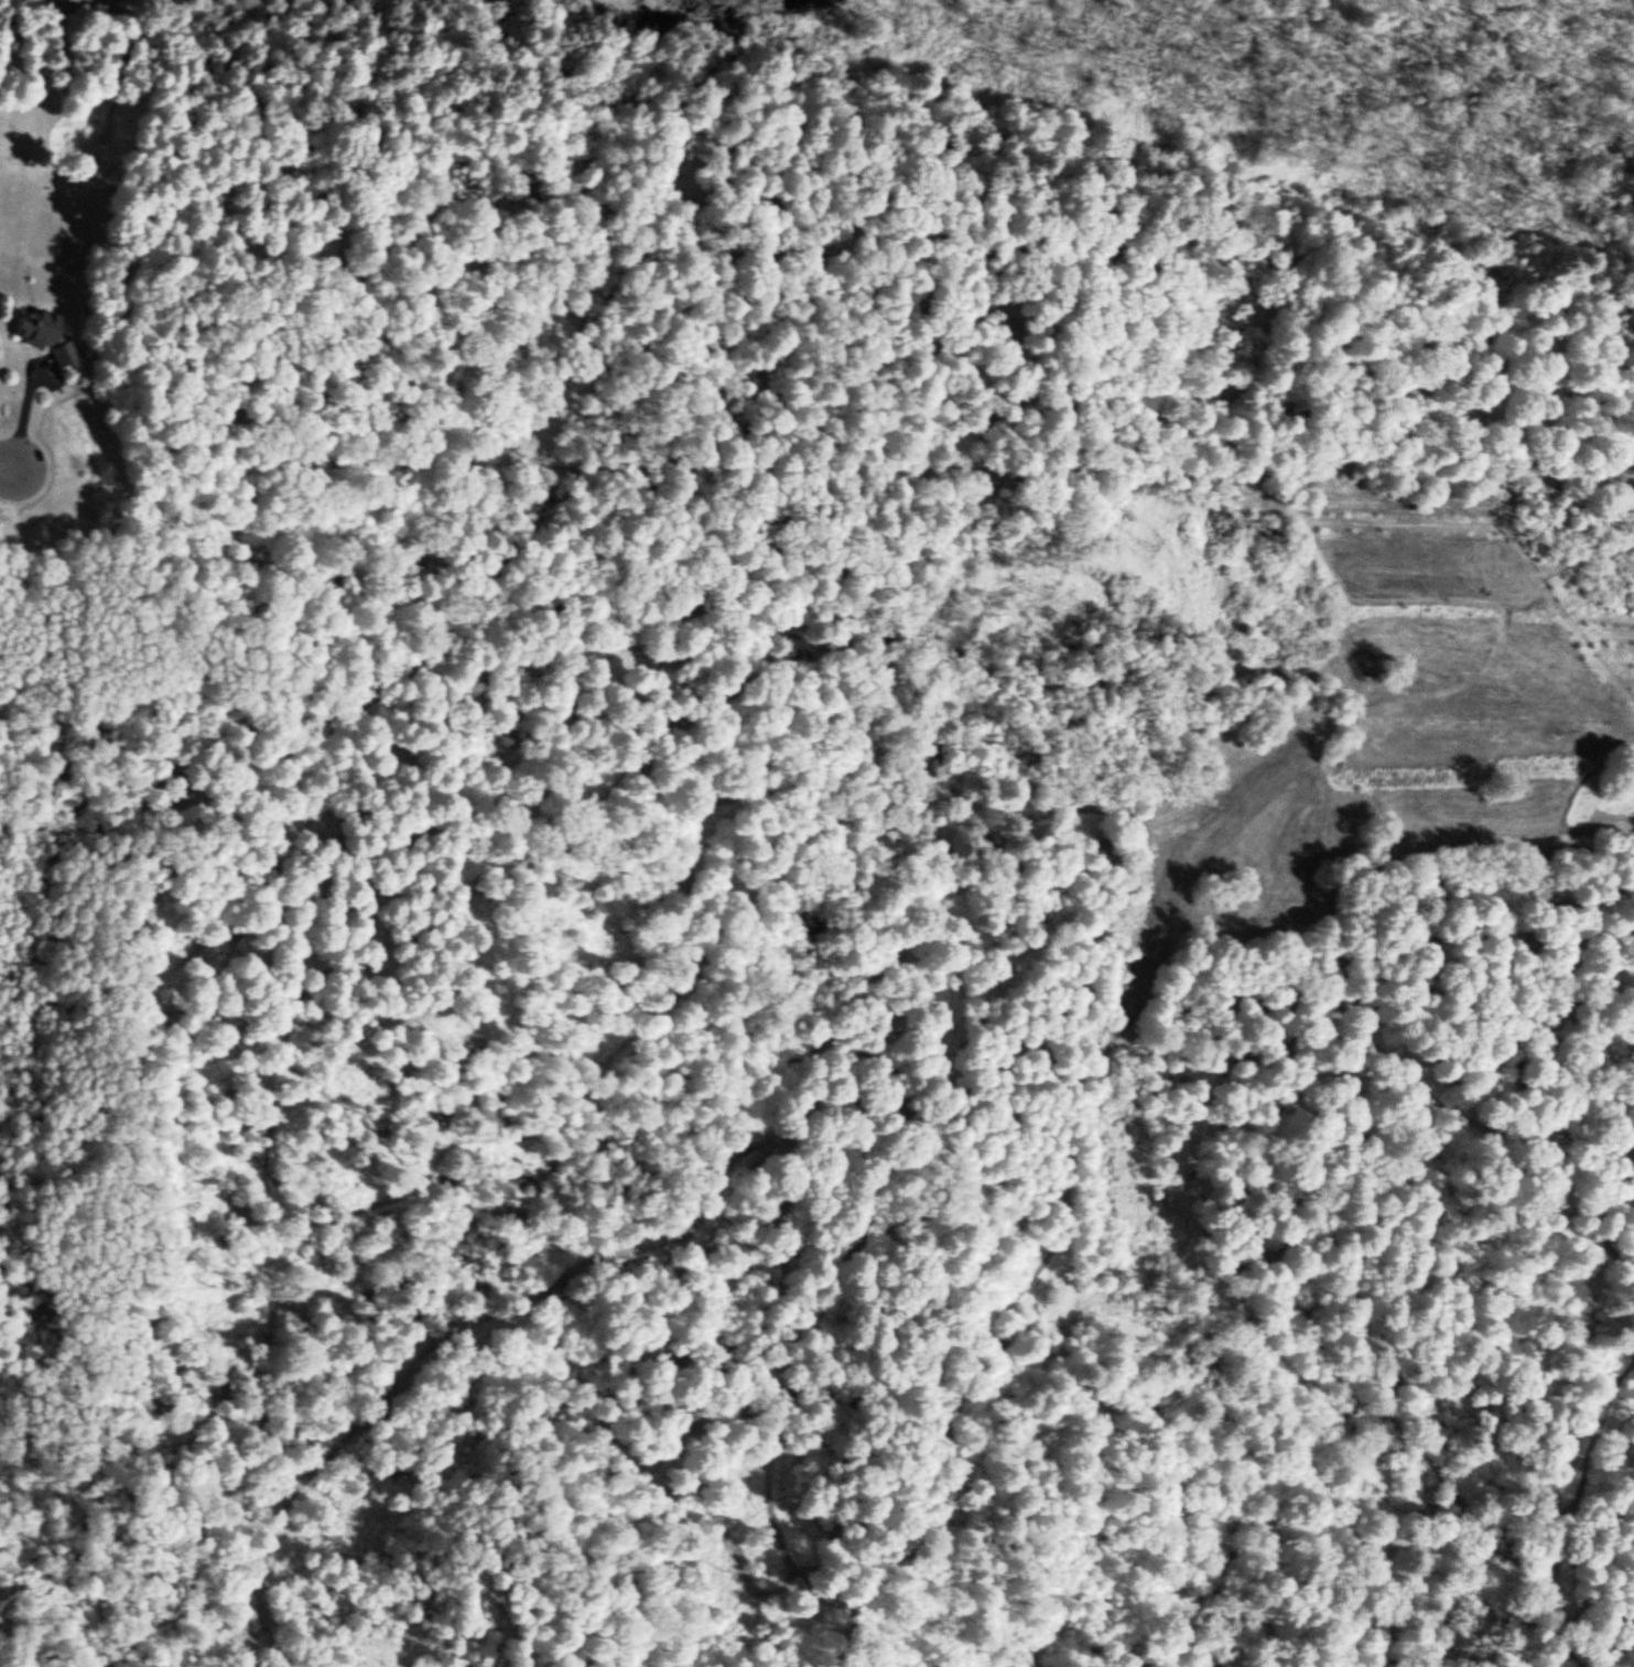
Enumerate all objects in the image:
building: (663, 142)
road: (701, 274)
building: (44, 338)
road: (1100, 464)
road: (6, 467)
road: (32, 1063)
park: (47, 1063)
road: (930, 1067)
road: (519, 1636)

